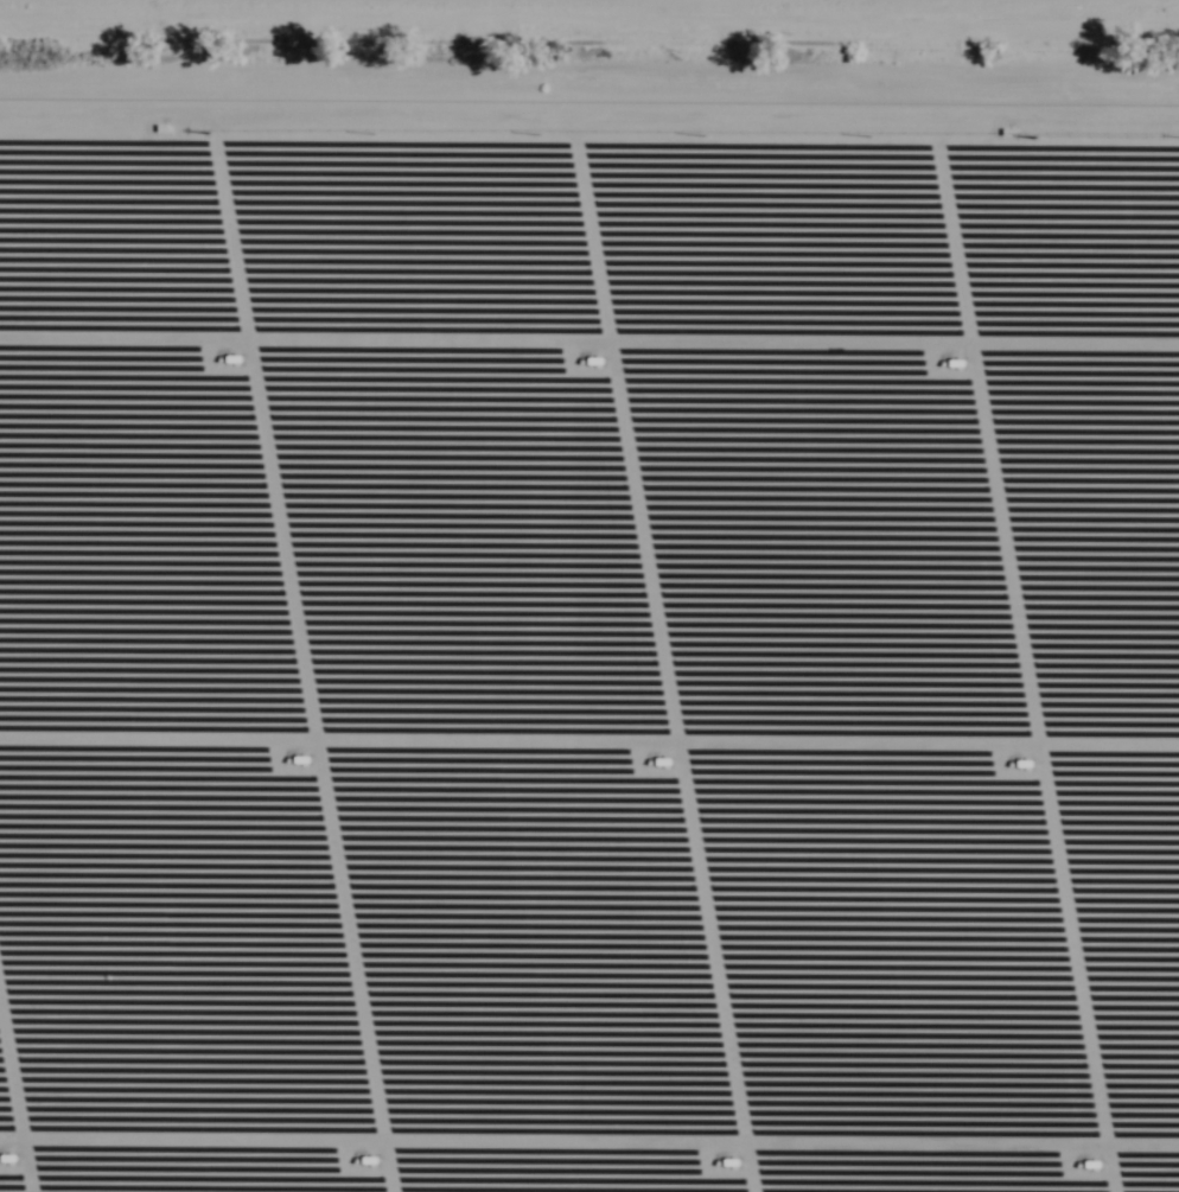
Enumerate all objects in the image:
solar farm: (588, 645)

